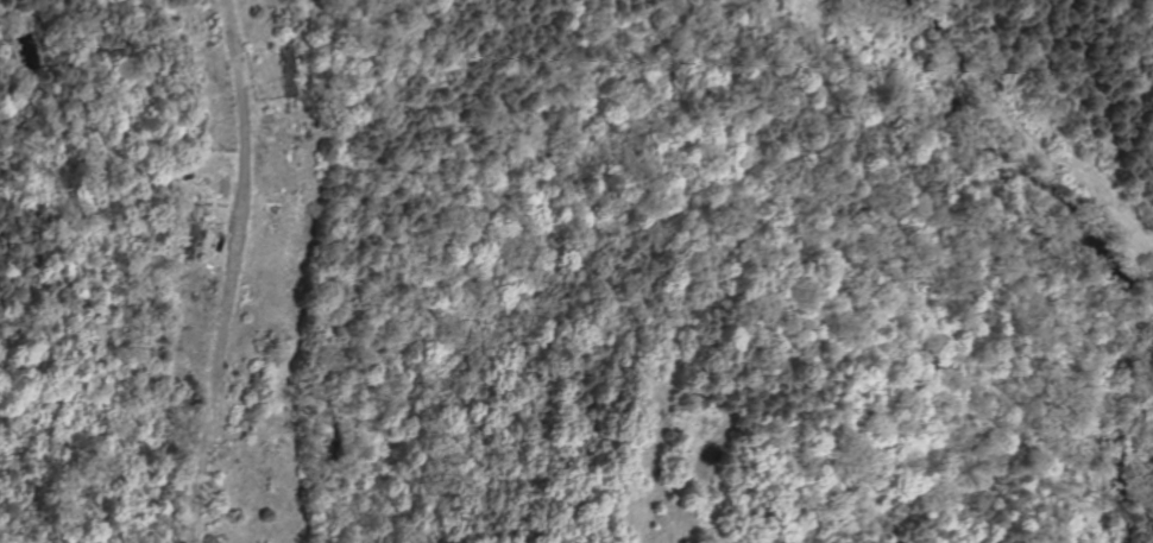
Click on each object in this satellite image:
building: (181, 25)
building: (188, 63)
building: (285, 70)
building: (195, 125)
building: (221, 185)
building: (191, 231)
road: (228, 271)
building: (254, 396)

